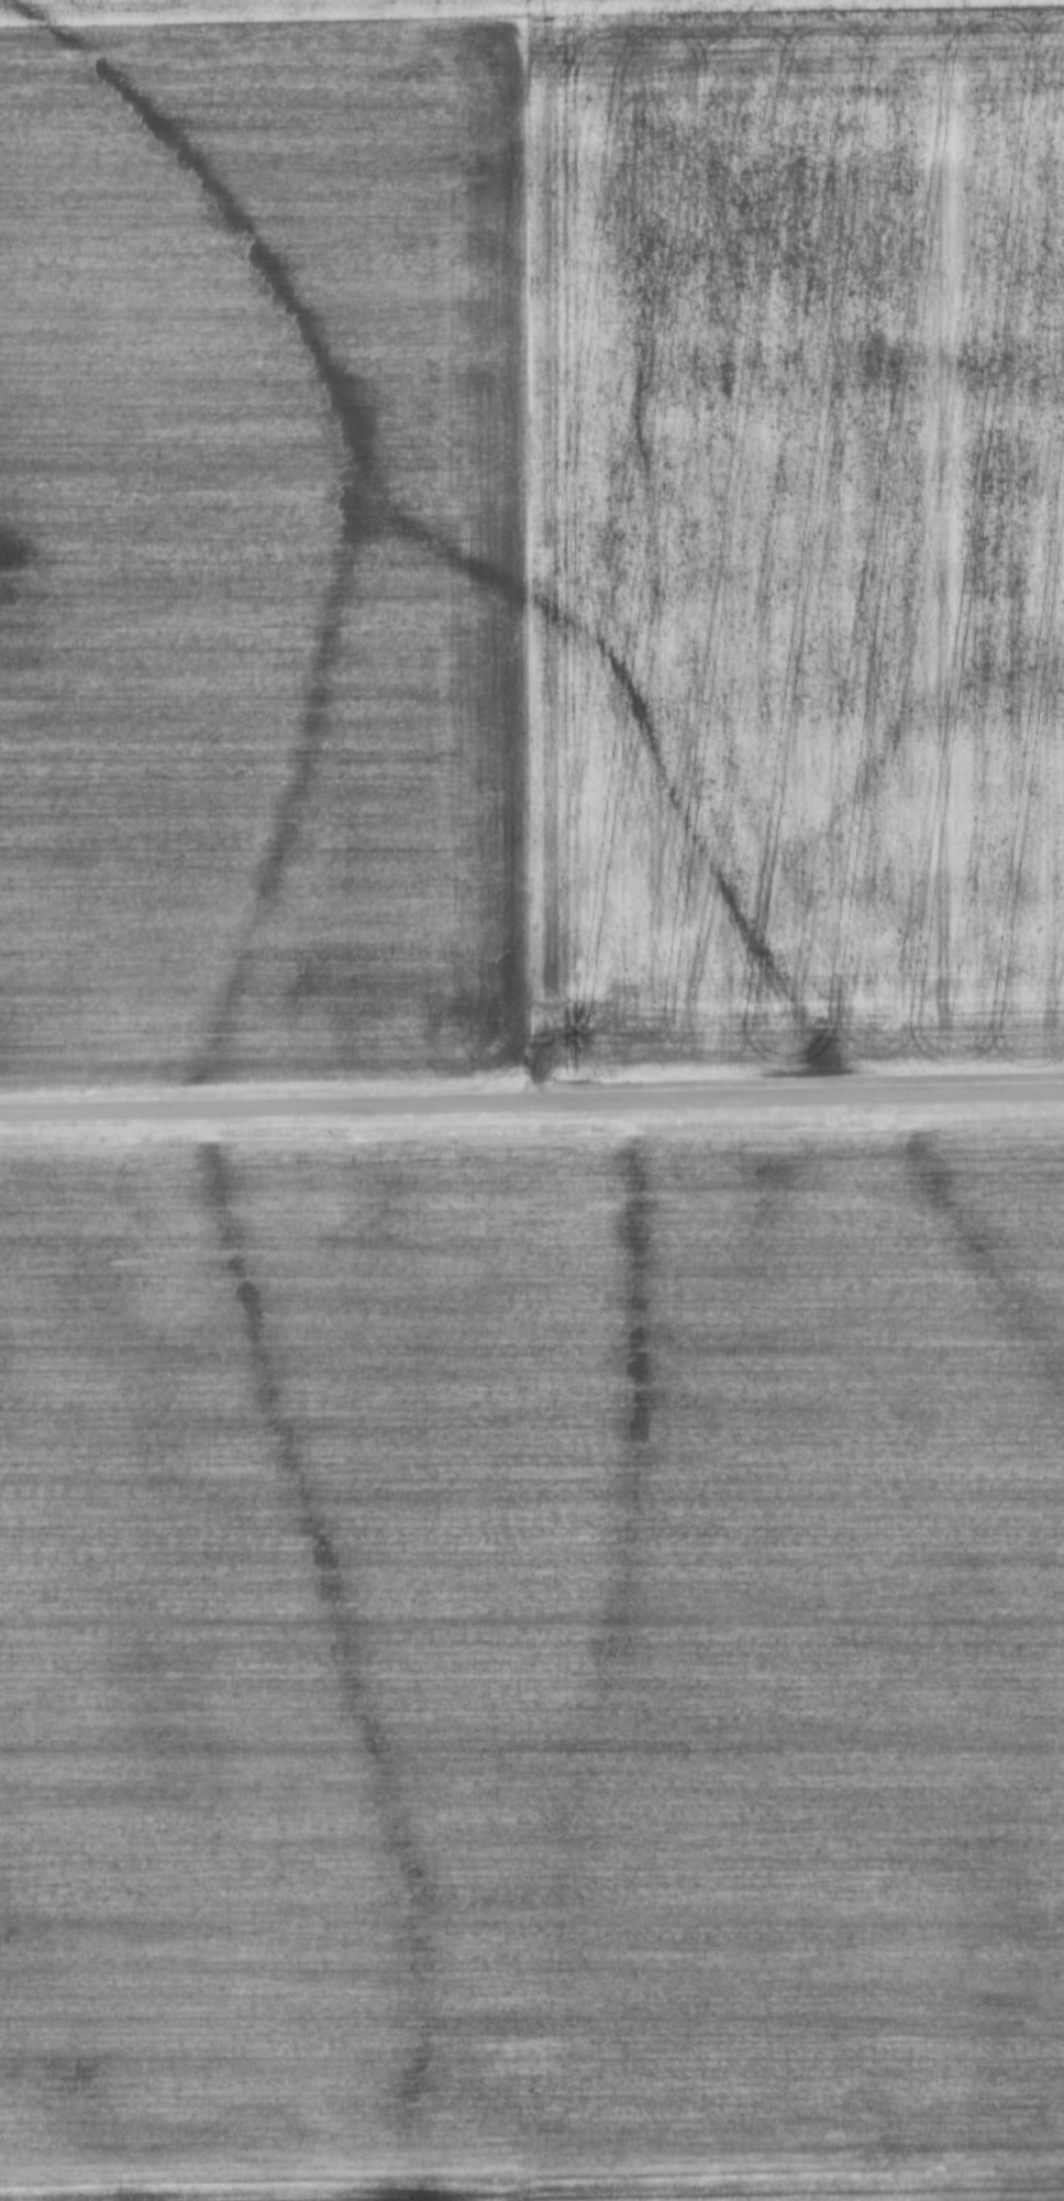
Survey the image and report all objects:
crop: (366, 8)
crop: (799, 540)
crop: (267, 550)
road: (532, 1100)
crop: (533, 1668)

